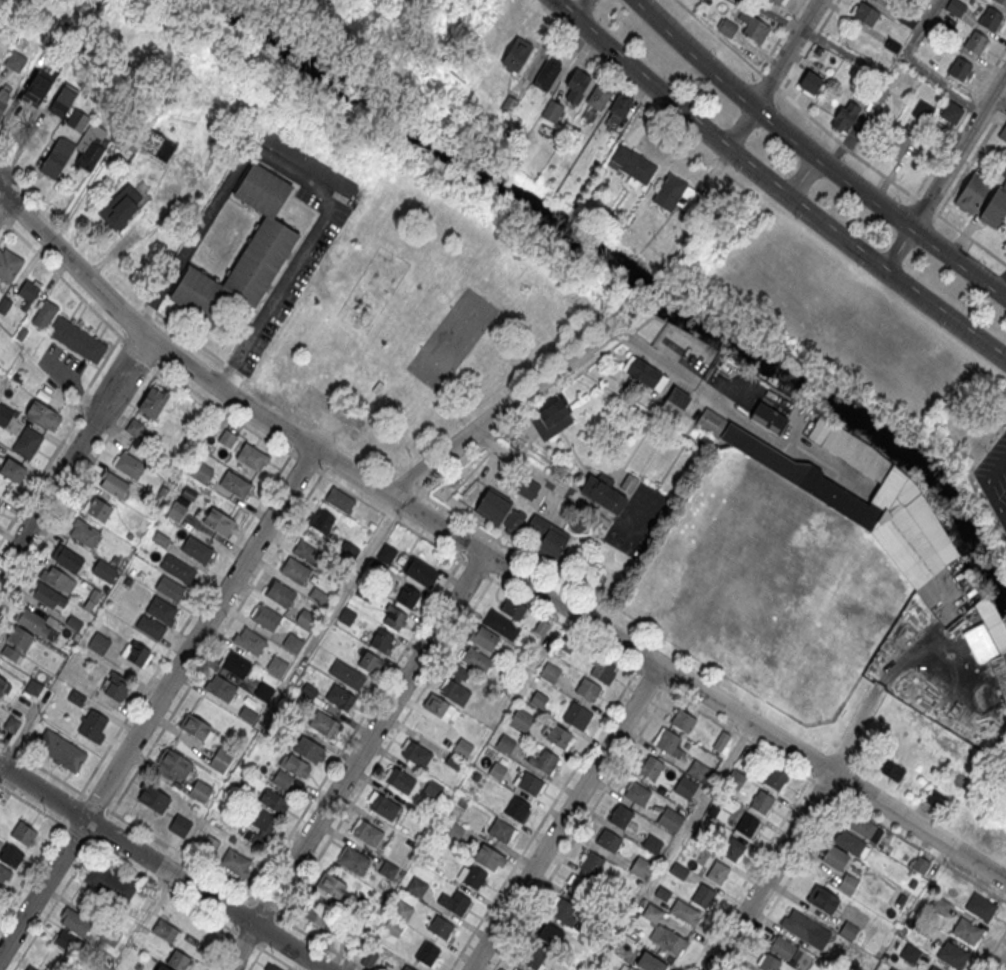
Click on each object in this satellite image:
park: (0, 0)
building: (1002, 1)
building: (779, 2)
building: (882, 2)
building: (956, 7)
road: (581, 10)
building: (865, 13)
building: (908, 17)
building: (989, 18)
building: (753, 27)
building: (727, 28)
road: (779, 35)
building: (975, 42)
road: (807, 45)
road: (787, 52)
building: (516, 55)
building: (15, 60)
road: (919, 65)
building: (959, 68)
building: (549, 70)
building: (810, 82)
building: (576, 85)
building: (38, 86)
building: (880, 94)
building: (597, 98)
building: (3, 99)
building: (63, 100)
road: (998, 102)
building: (552, 110)
building: (923, 111)
building: (951, 113)
building: (845, 116)
building: (77, 120)
road: (741, 127)
building: (1003, 133)
road: (836, 139)
building: (897, 142)
building: (158, 145)
road: (958, 150)
building: (91, 154)
road: (816, 155)
building: (57, 156)
building: (306, 162)
building: (632, 164)
road: (795, 171)
road: (299, 178)
road: (774, 186)
road: (0, 191)
building: (972, 192)
building: (674, 193)
building: (995, 206)
building: (124, 209)
road: (4, 218)
road: (4, 229)
road: (897, 249)
building: (244, 250)
building: (9, 264)
parking lot: (299, 268)
river: (632, 288)
building: (27, 291)
road: (81, 297)
building: (4, 303)
building: (44, 311)
park: (428, 321)
building: (76, 337)
park: (451, 339)
road: (633, 343)
building: (644, 373)
building: (378, 388)
building: (678, 397)
building: (153, 400)
road: (500, 411)
building: (42, 412)
building: (4, 414)
parking lot: (331, 414)
road: (331, 414)
building: (768, 418)
building: (551, 419)
building: (709, 420)
building: (134, 427)
road: (323, 432)
building: (227, 438)
building: (27, 442)
road: (74, 455)
building: (252, 457)
road: (306, 462)
building: (129, 465)
building: (12, 469)
building: (203, 474)
parking lot: (994, 475)
building: (628, 482)
building: (235, 483)
road: (988, 483)
building: (113, 484)
road: (77, 485)
building: (525, 487)
building: (602, 492)
building: (339, 499)
building: (0, 503)
building: (492, 506)
building: (97, 508)
building: (176, 510)
road: (298, 511)
building: (891, 517)
building: (321, 520)
building: (219, 521)
building: (513, 522)
building: (84, 532)
building: (547, 536)
building: (160, 538)
building: (196, 549)
building: (348, 550)
building: (307, 551)
building: (387, 553)
road: (486, 555)
building: (69, 559)
building: (178, 569)
building: (295, 569)
building: (420, 572)
building: (57, 579)
building: (170, 588)
building: (279, 593)
park: (769, 593)
building: (47, 595)
road: (202, 596)
building: (320, 596)
building: (407, 596)
building: (513, 607)
building: (161, 609)
building: (265, 616)
building: (393, 617)
building: (306, 619)
building: (31, 620)
building: (73, 622)
building: (501, 624)
building: (150, 626)
road: (578, 633)
building: (483, 637)
building: (250, 640)
building: (381, 640)
building: (16, 642)
building: (292, 642)
building: (994, 642)
building: (98, 643)
building: (136, 653)
building: (475, 659)
building: (369, 661)
park: (801, 661)
building: (235, 664)
building: (277, 665)
building: (603, 669)
building: (549, 672)
building: (347, 674)
building: (2, 684)
building: (115, 685)
building: (33, 687)
building: (221, 687)
building: (587, 689)
building: (263, 690)
building: (455, 691)
building: (76, 697)
building: (340, 697)
building: (539, 700)
road: (157, 702)
building: (438, 707)
building: (577, 715)
building: (522, 720)
building: (682, 720)
building: (324, 723)
building: (92, 726)
building: (196, 727)
road: (355, 729)
building: (559, 737)
building: (721, 740)
building: (667, 741)
building: (505, 744)
building: (462, 747)
building: (309, 748)
building: (60, 750)
building: (416, 753)
building: (220, 760)
building: (544, 761)
building: (173, 762)
road: (355, 762)
road: (375, 763)
building: (295, 765)
building: (650, 766)
building: (497, 770)
building: (699, 771)
building: (891, 771)
building: (775, 777)
building: (399, 779)
building: (738, 781)
building: (529, 783)
building: (433, 787)
building: (685, 787)
building: (200, 790)
building: (637, 792)
road: (836, 795)
building: (153, 798)
building: (274, 800)
road: (95, 801)
building: (760, 801)
building: (382, 805)
building: (516, 808)
building: (620, 816)
road: (565, 817)
building: (263, 819)
road: (543, 819)
building: (670, 819)
building: (179, 825)
building: (746, 825)
road: (579, 829)
building: (865, 829)
building: (500, 830)
building: (24, 832)
building: (366, 832)
building: (608, 840)
building: (652, 843)
building: (850, 844)
building: (733, 848)
road: (40, 856)
building: (489, 857)
building: (353, 859)
building: (834, 859)
road: (191, 861)
building: (235, 862)
building: (591, 863)
building: (920, 865)
road: (163, 867)
building: (641, 867)
building: (717, 871)
road: (771, 871)
building: (4, 872)
building: (471, 875)
road: (790, 876)
road: (147, 877)
building: (110, 883)
building: (848, 883)
building: (331, 885)
building: (0, 888)
road: (61, 890)
building: (703, 895)
building: (823, 899)
building: (455, 903)
building: (939, 905)
building: (980, 907)
building: (402, 910)
building: (563, 912)
building: (315, 916)
building: (74, 921)
building: (800, 925)
building: (441, 927)
building: (164, 929)
building: (848, 930)
building: (391, 931)
building: (966, 931)
road: (228, 934)
building: (550, 935)
building: (66, 940)
building: (671, 941)
building: (785, 949)
road: (993, 949)
building: (427, 953)
building: (910, 953)
building: (952, 955)
building: (369, 958)
building: (534, 958)
road: (254, 959)
building: (179, 960)
building: (769, 962)
building: (649, 963)
building: (163, 967)
building: (271, 967)
building: (627, 967)
road: (1004, 967)
building: (29, 968)
building: (407, 968)
building: (515, 968)
building: (893, 968)
building: (933, 968)

